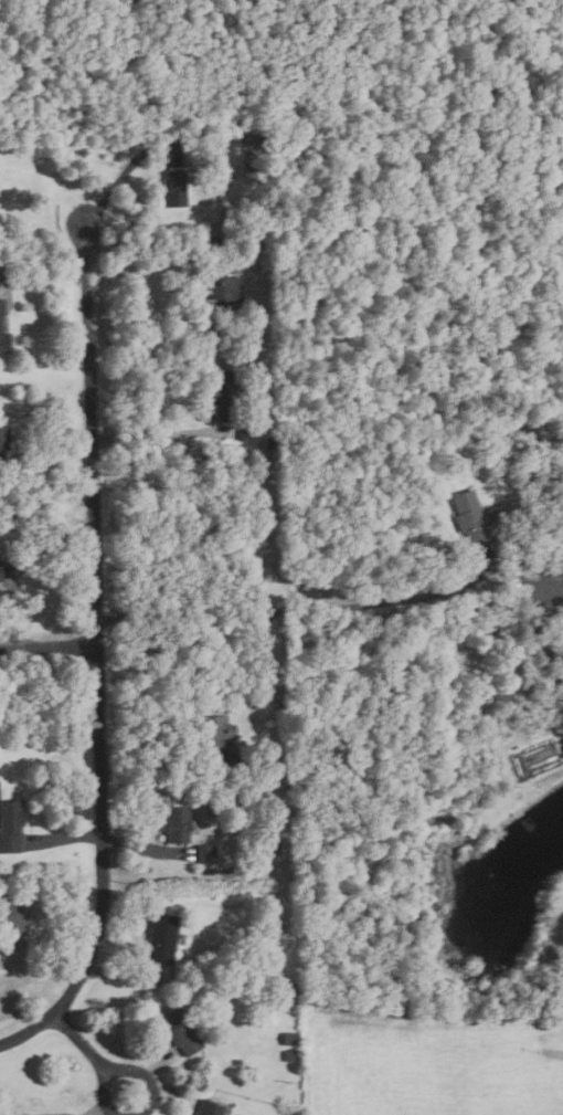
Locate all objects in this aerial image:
building: (256, 137)
road: (126, 170)
building: (172, 189)
road: (166, 241)
road: (42, 277)
building: (222, 290)
building: (1, 307)
building: (3, 343)
building: (223, 395)
building: (276, 424)
road: (158, 434)
building: (242, 435)
building: (2, 438)
building: (272, 444)
road: (46, 484)
building: (539, 515)
building: (469, 518)
building: (0, 574)
road: (370, 604)
road: (12, 608)
road: (94, 625)
road: (47, 646)
building: (213, 729)
building: (229, 759)
road: (150, 762)
building: (174, 823)
building: (11, 827)
road: (64, 838)
road: (145, 846)
building: (274, 850)
building: (204, 852)
building: (10, 913)
building: (159, 936)
road: (42, 965)
road: (123, 979)
building: (179, 1030)
road: (26, 1031)
building: (287, 1038)
road: (83, 1044)
building: (291, 1055)
road: (156, 1064)
road: (126, 1070)
road: (170, 1095)
building: (206, 1107)
road: (97, 1111)

